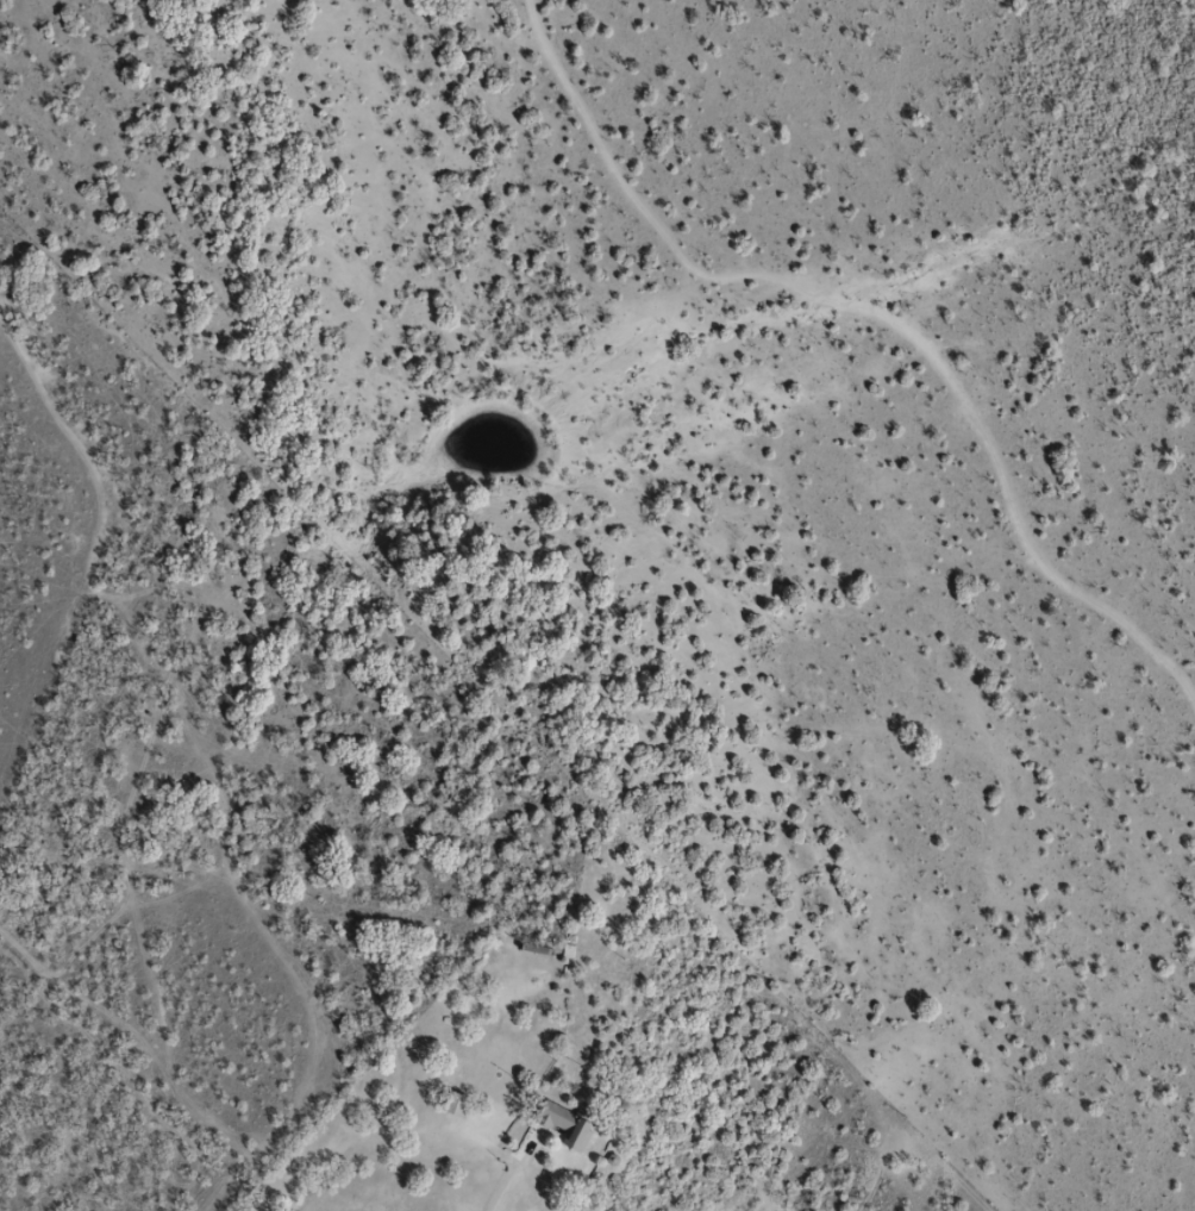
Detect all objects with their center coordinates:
building: (452, 1103)
building: (561, 1125)

